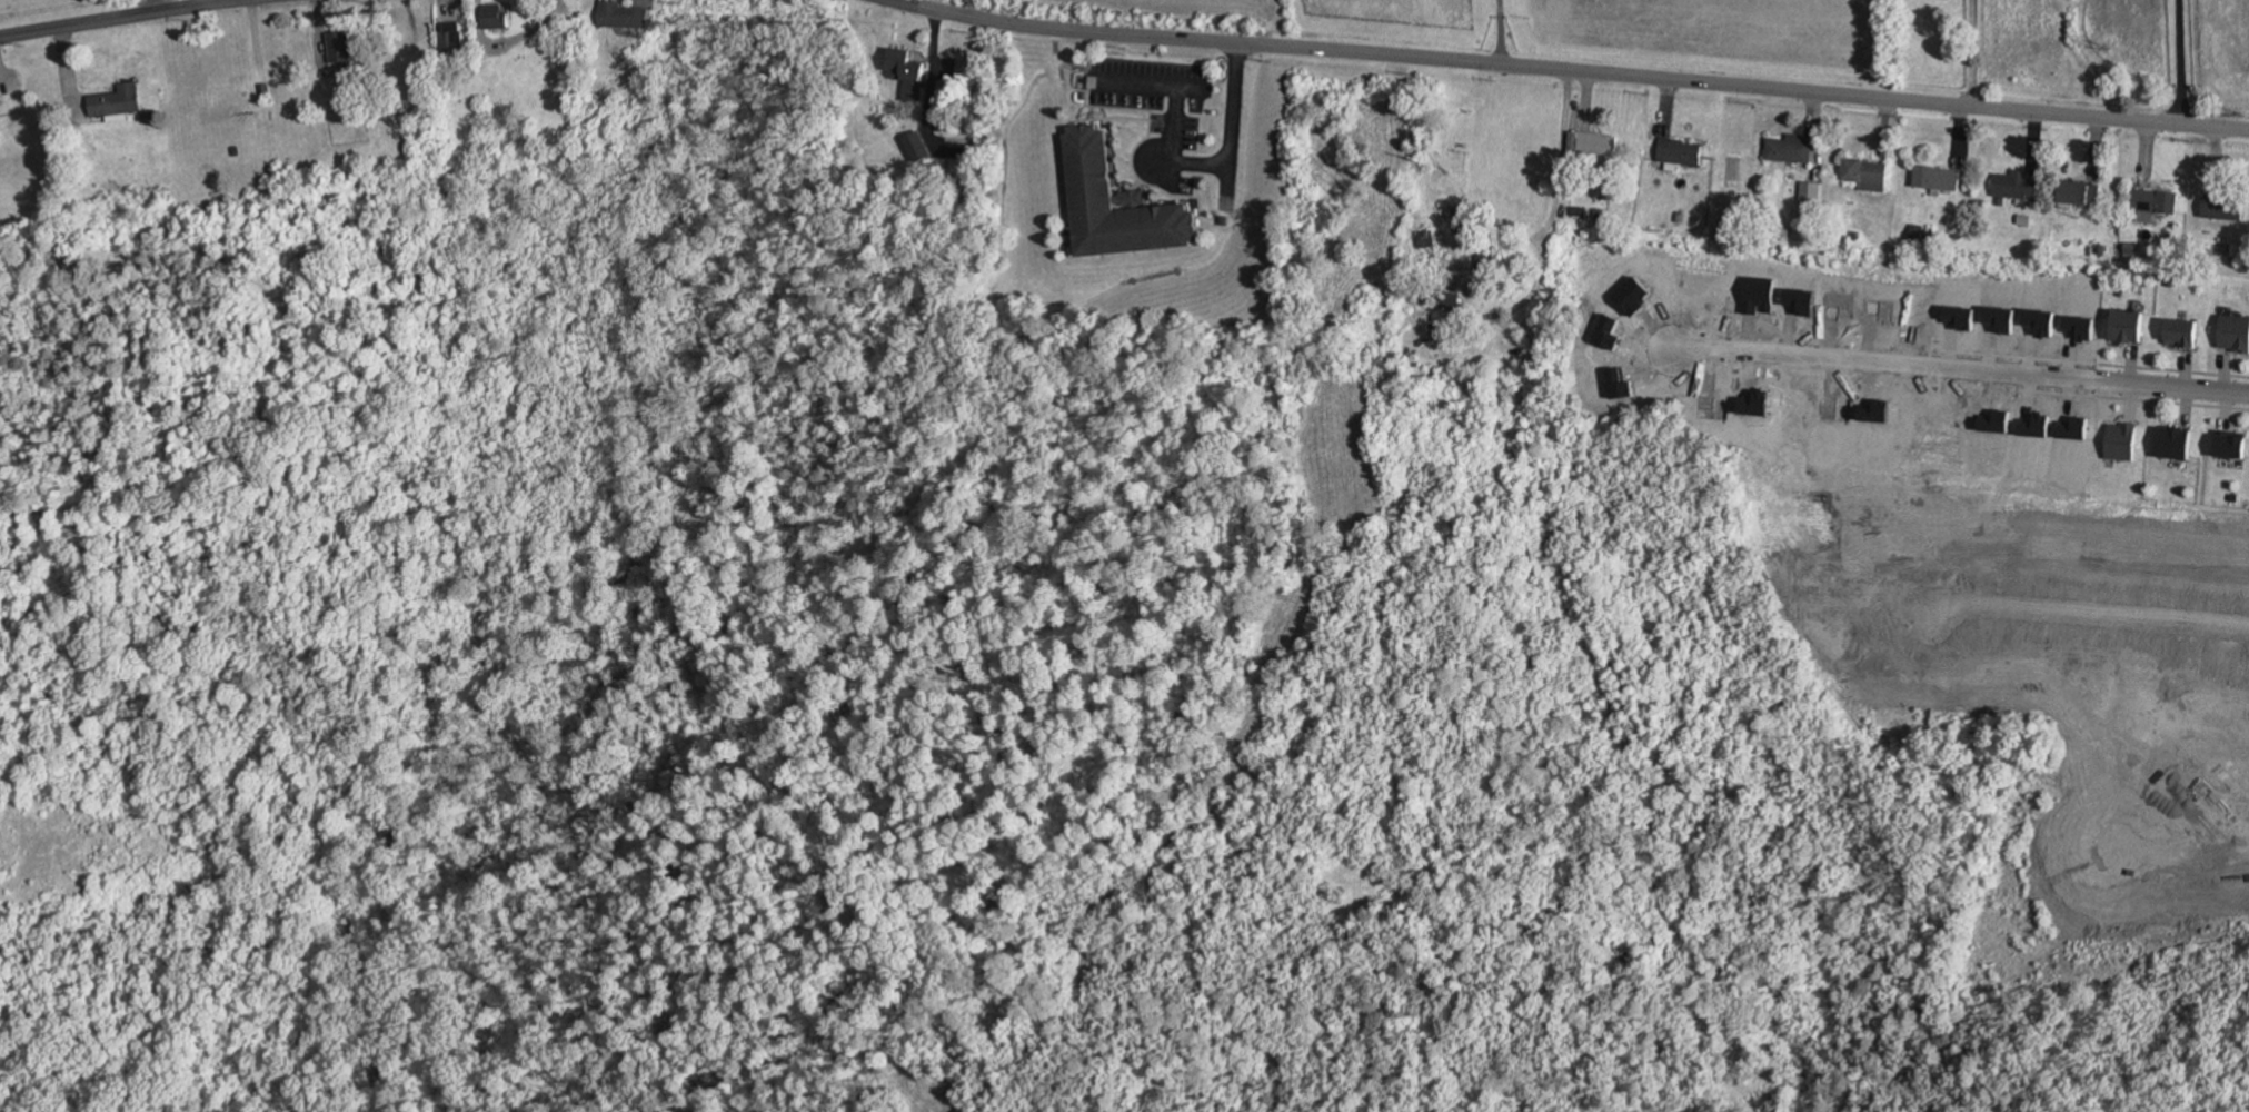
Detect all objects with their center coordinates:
road: (200, 3)
building: (624, 16)
road: (123, 18)
building: (495, 18)
road: (1499, 32)
building: (452, 42)
building: (341, 47)
road: (1976, 53)
road: (2179, 61)
road: (1568, 72)
building: (907, 73)
road: (931, 73)
building: (118, 101)
flagpole: (1134, 130)
building: (1598, 142)
building: (917, 147)
building: (1789, 148)
building: (1679, 152)
road: (1225, 163)
building: (1867, 172)
building: (1938, 177)
building: (2016, 187)
building: (1810, 191)
building: (2079, 192)
road: (1553, 195)
building: (2153, 203)
building: (2222, 207)
building: (1122, 208)
building: (1579, 210)
building: (1598, 211)
building: (1680, 217)
building: (2024, 219)
building: (1783, 231)
building: (1854, 235)
building: (2131, 249)
building: (2235, 249)
building: (2101, 250)
building: (2170, 281)
building: (1718, 297)
building: (1449, 299)
building: (2128, 325)
building: (2181, 331)
building: (2235, 334)
road: (1959, 368)
building: (1752, 401)
building: (1712, 409)
building: (2122, 440)
building: (2177, 440)
building: (2230, 444)
building: (2235, 497)
road: (2090, 610)
road: (2181, 852)

